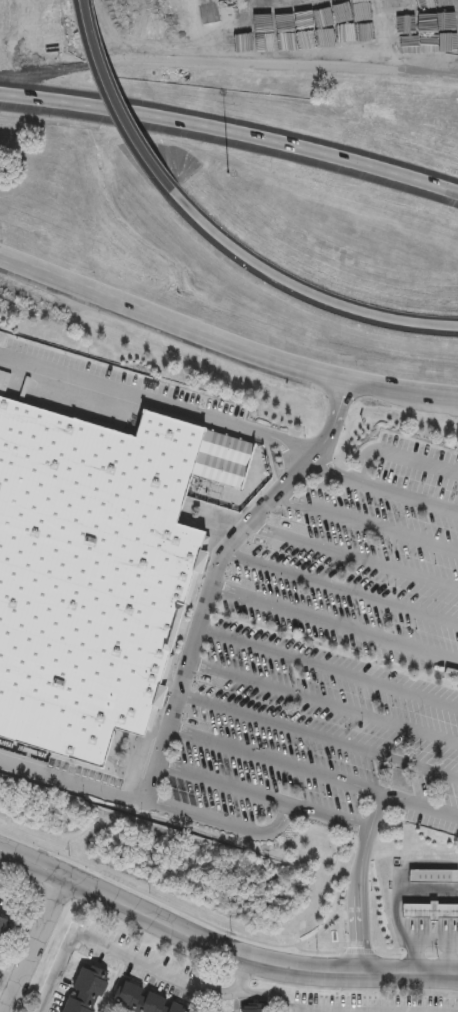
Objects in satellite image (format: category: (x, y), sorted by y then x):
road: (111, 100)
road: (230, 131)
road: (297, 288)
road: (225, 338)
road: (156, 403)
road: (424, 408)
road: (396, 455)
road: (381, 491)
road: (367, 523)
road: (354, 556)
building: (96, 567)
road: (341, 588)
road: (334, 626)
road: (328, 668)
road: (180, 688)
road: (323, 701)
road: (276, 762)
road: (224, 784)
road: (73, 785)
road: (367, 842)
road: (5, 861)
building: (435, 876)
building: (431, 911)
building: (4, 928)
road: (212, 940)
road: (36, 942)
road: (449, 969)
road: (243, 973)
road: (449, 975)
road: (172, 978)
road: (8, 981)
building: (85, 989)
building: (145, 999)
building: (254, 1007)
building: (117, 1011)

